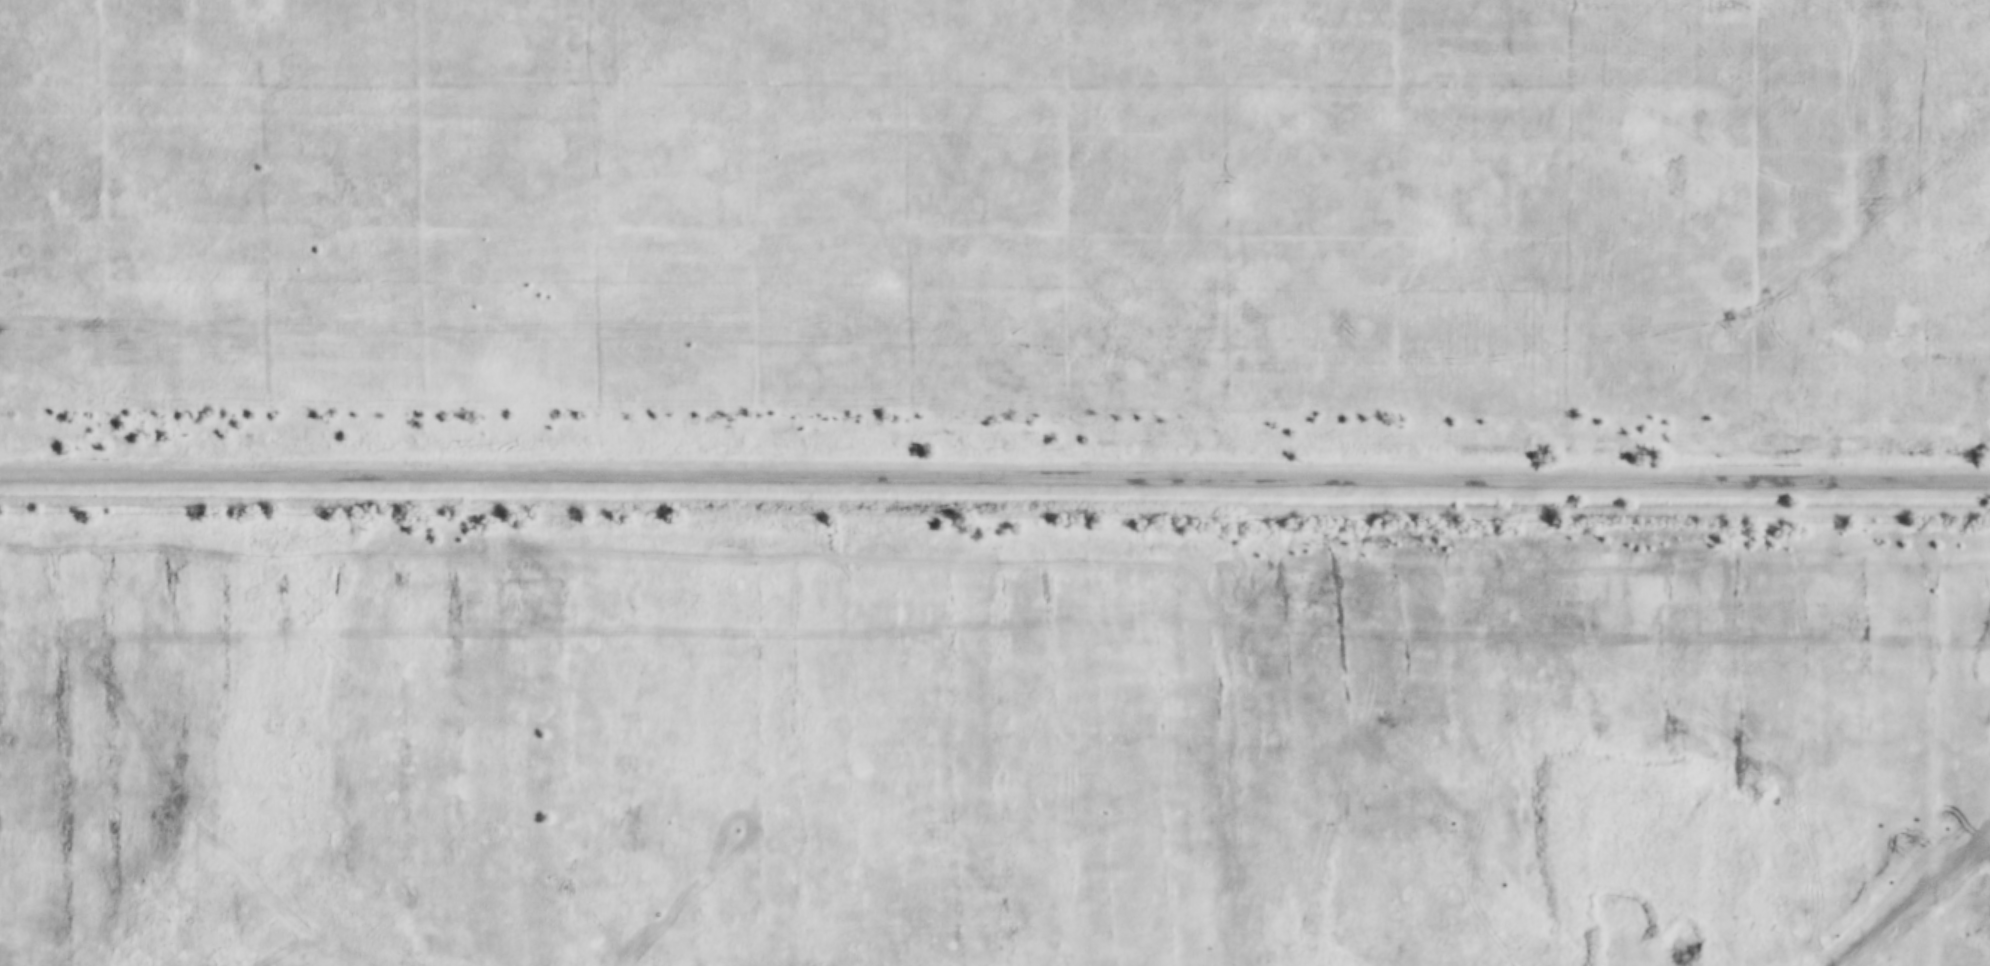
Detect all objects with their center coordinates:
road: (995, 477)
road: (1928, 911)

